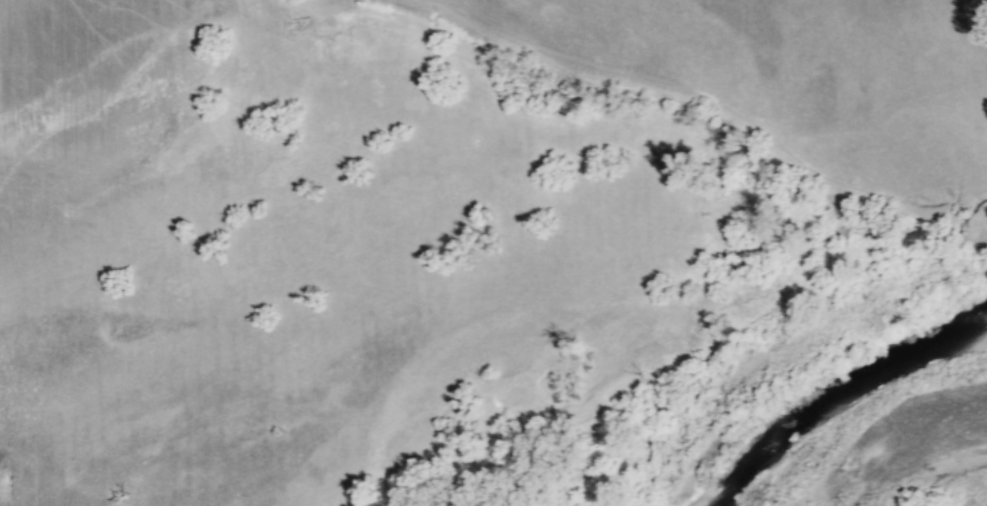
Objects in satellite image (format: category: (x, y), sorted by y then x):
river: (840, 399)

